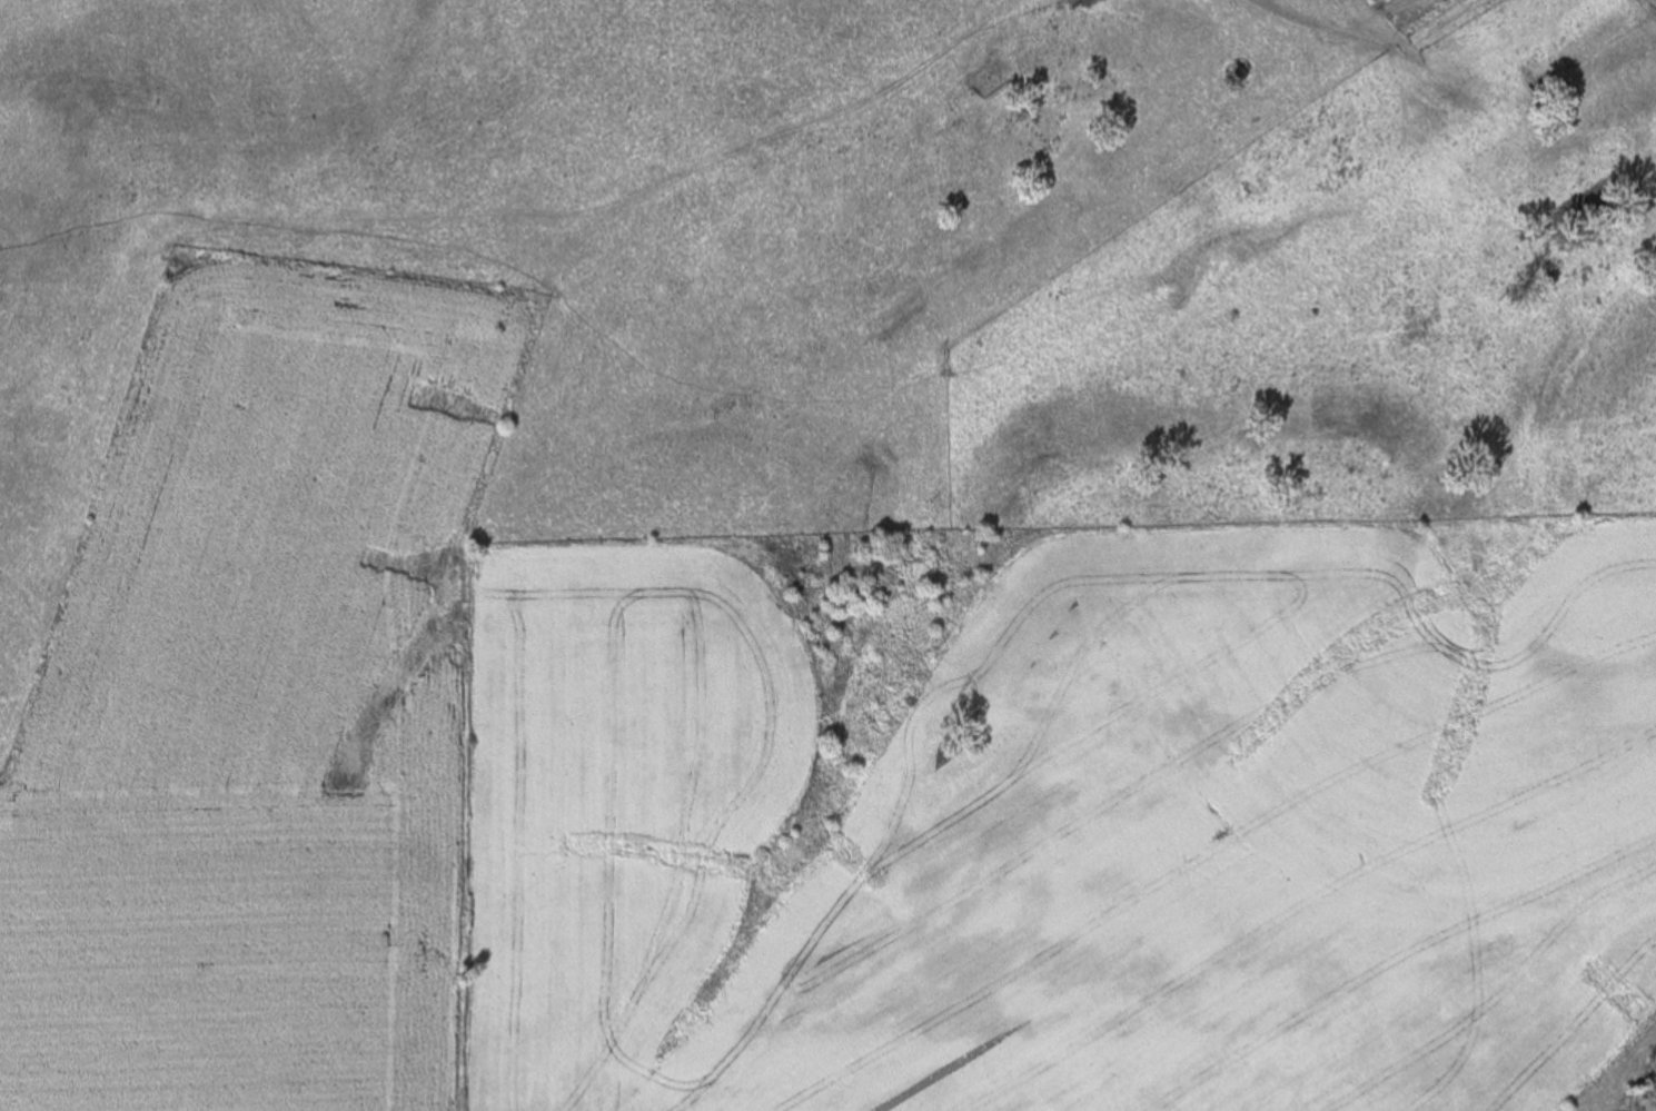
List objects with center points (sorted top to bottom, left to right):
road: (1340, 29)

